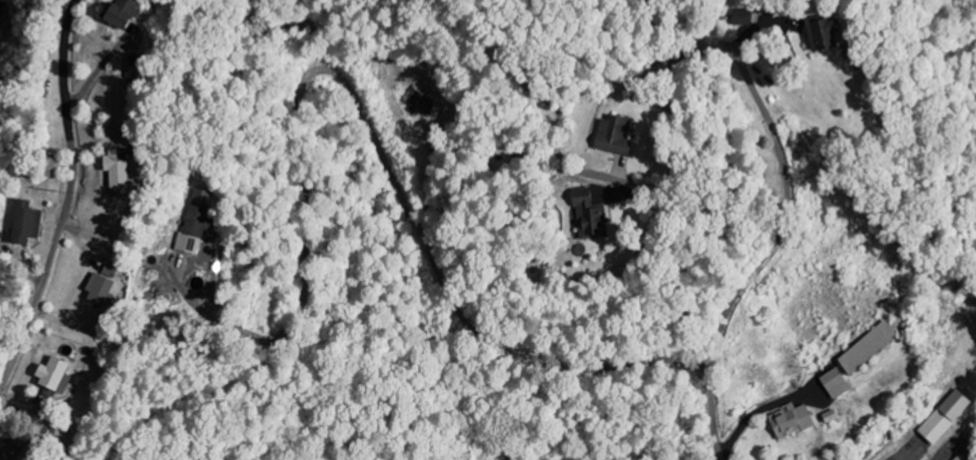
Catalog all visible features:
building: (129, 13)
building: (742, 17)
building: (828, 34)
road: (365, 124)
building: (618, 136)
building: (125, 169)
road: (640, 183)
road: (69, 201)
building: (594, 216)
building: (199, 219)
building: (30, 224)
road: (776, 238)
building: (112, 272)
building: (103, 289)
building: (870, 348)
building: (58, 378)
building: (837, 384)
building: (947, 416)
building: (794, 420)
building: (961, 458)

